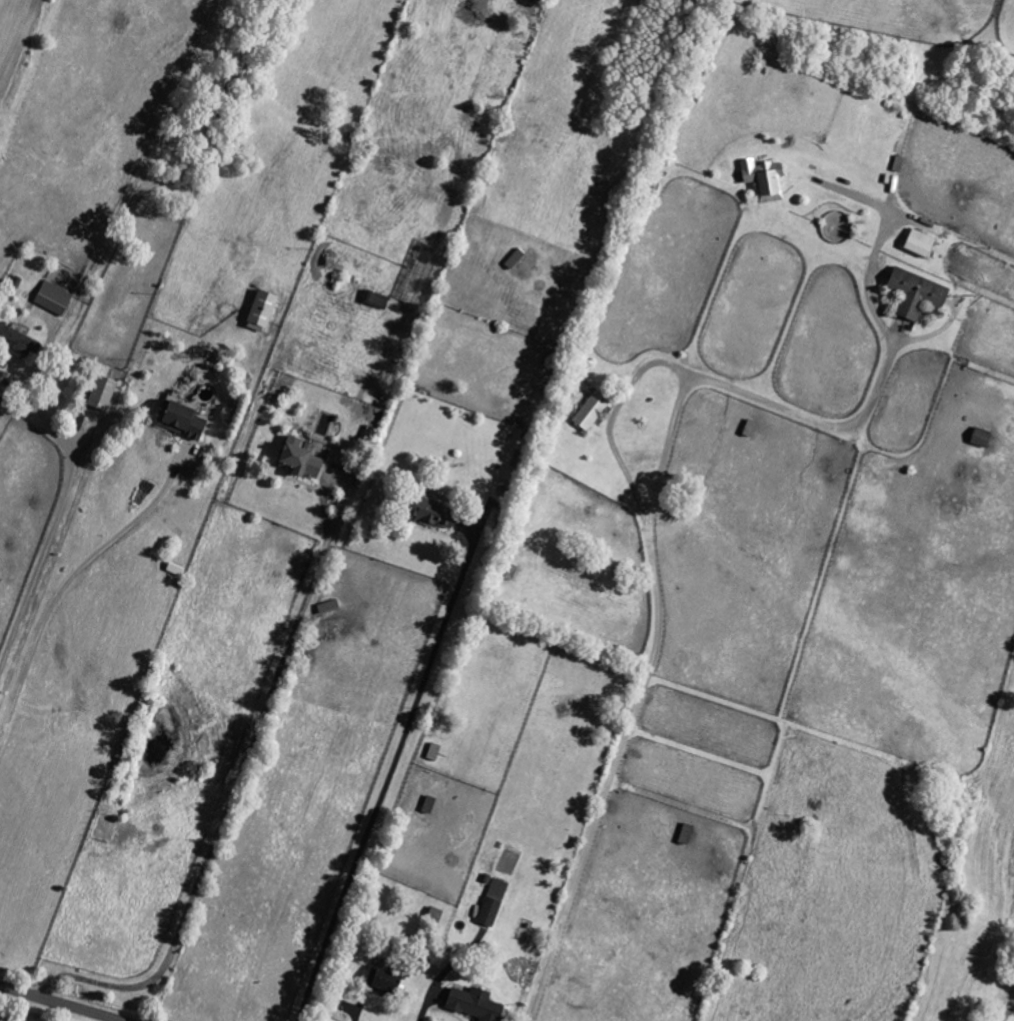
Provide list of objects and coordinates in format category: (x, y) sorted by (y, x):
building: (760, 179)
building: (914, 242)
building: (912, 293)
building: (51, 298)
building: (258, 311)
building: (18, 341)
building: (99, 393)
building: (588, 411)
road: (613, 417)
building: (177, 420)
building: (977, 437)
building: (294, 459)
road: (659, 474)
building: (427, 513)
road: (53, 528)
road: (64, 583)
road: (388, 777)
road: (230, 799)
building: (682, 834)
building: (490, 902)
road: (443, 974)
building: (379, 981)
road: (59, 1004)
building: (470, 1004)

